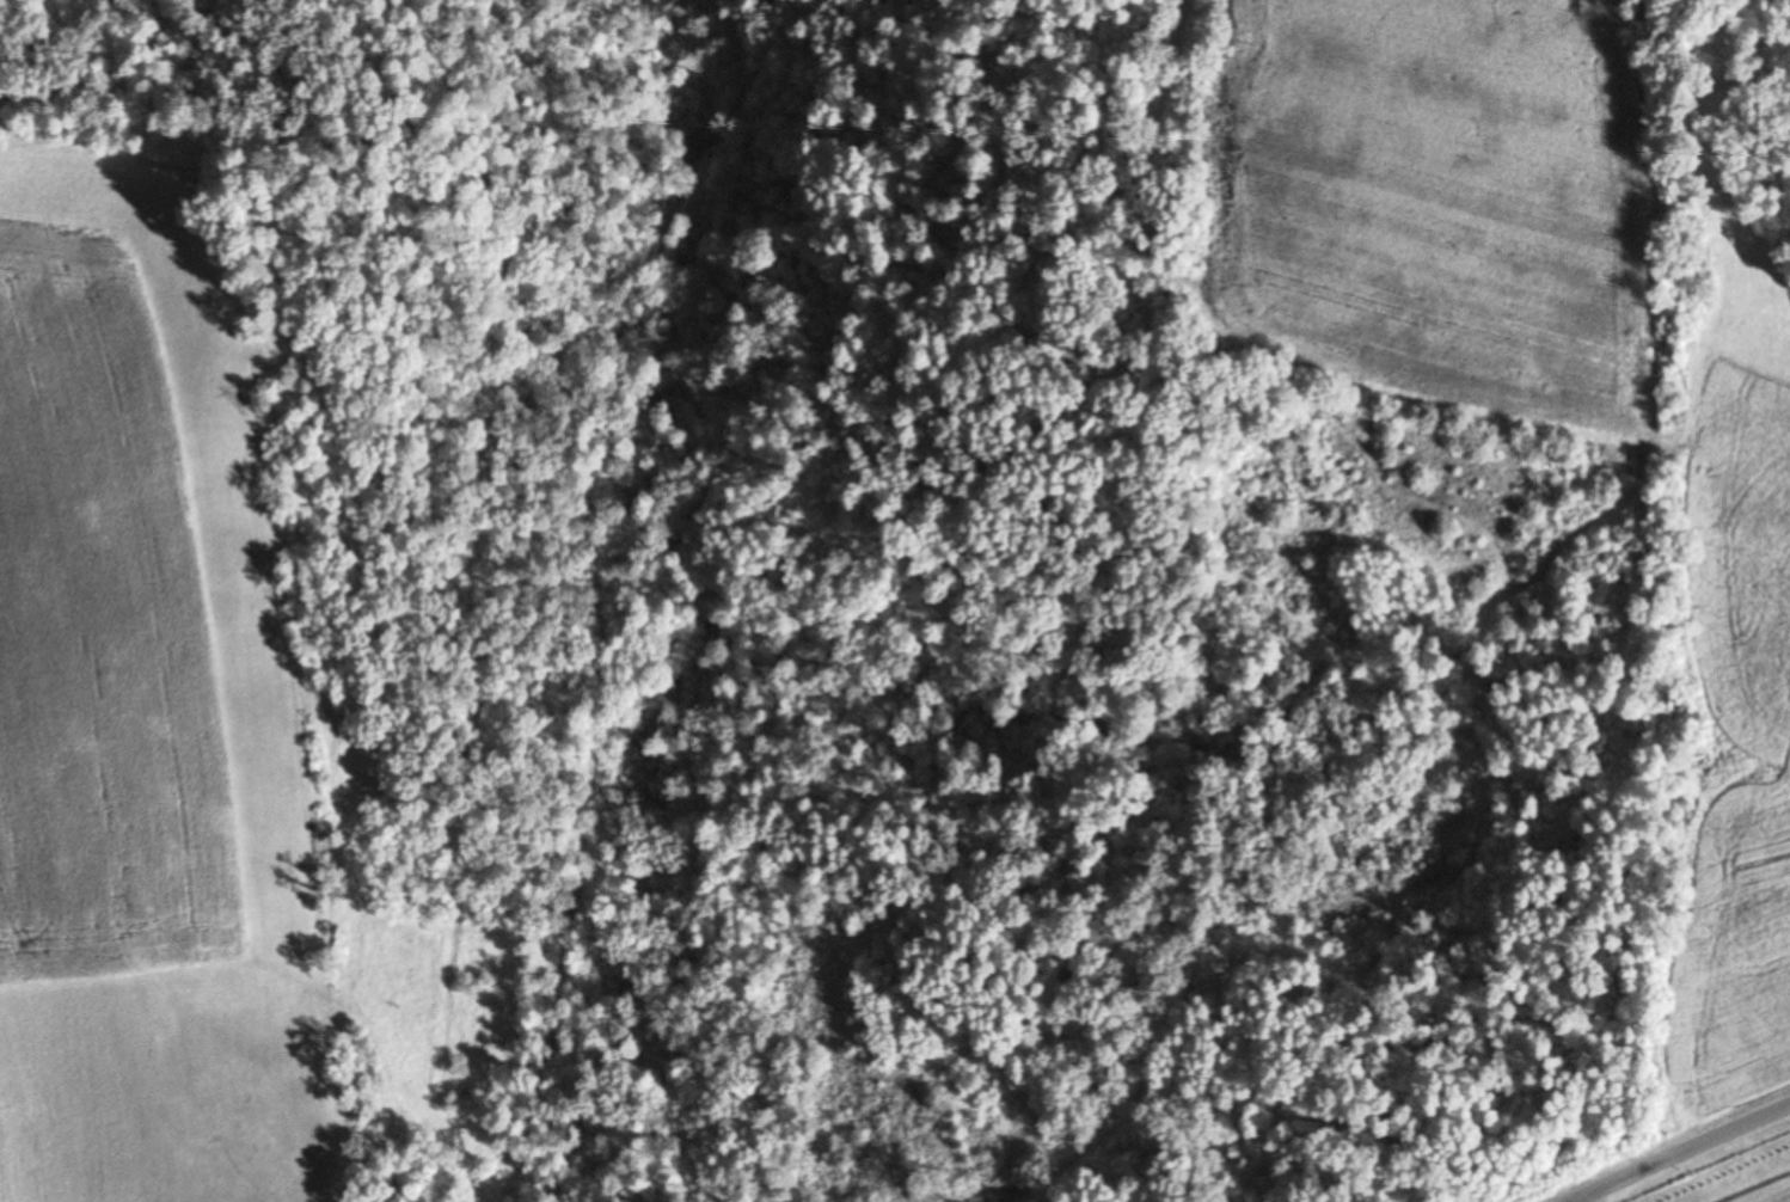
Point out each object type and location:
road: (1691, 1159)

